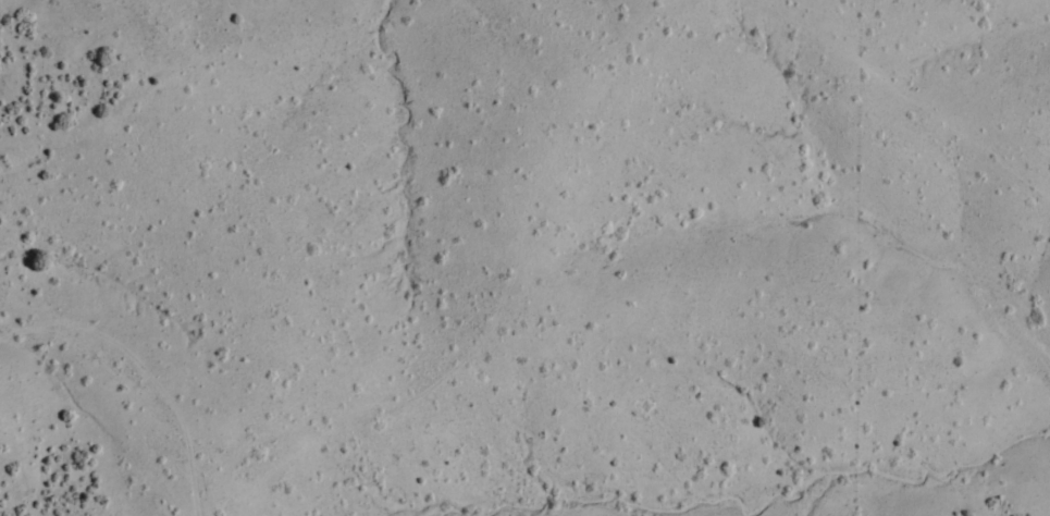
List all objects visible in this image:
road: (441, 356)
road: (879, 478)

